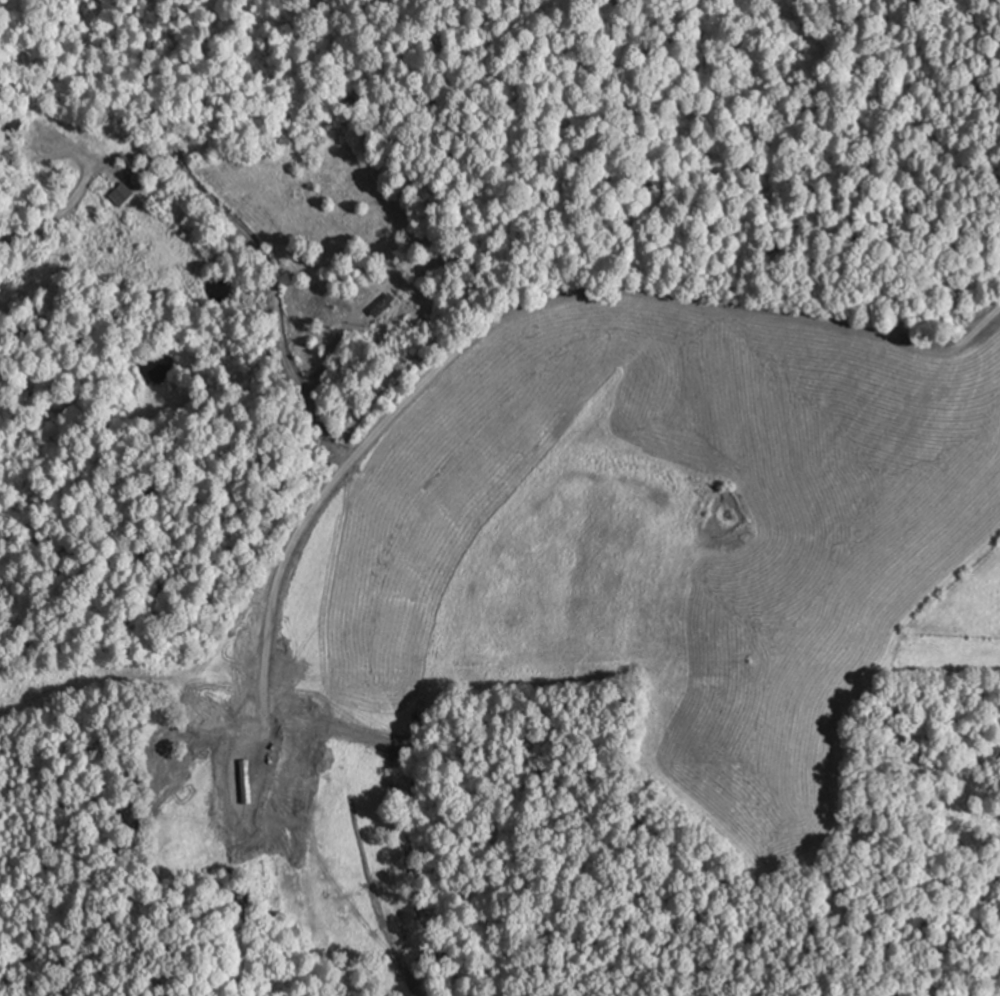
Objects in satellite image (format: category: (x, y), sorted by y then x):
building: (123, 194)
road: (55, 215)

